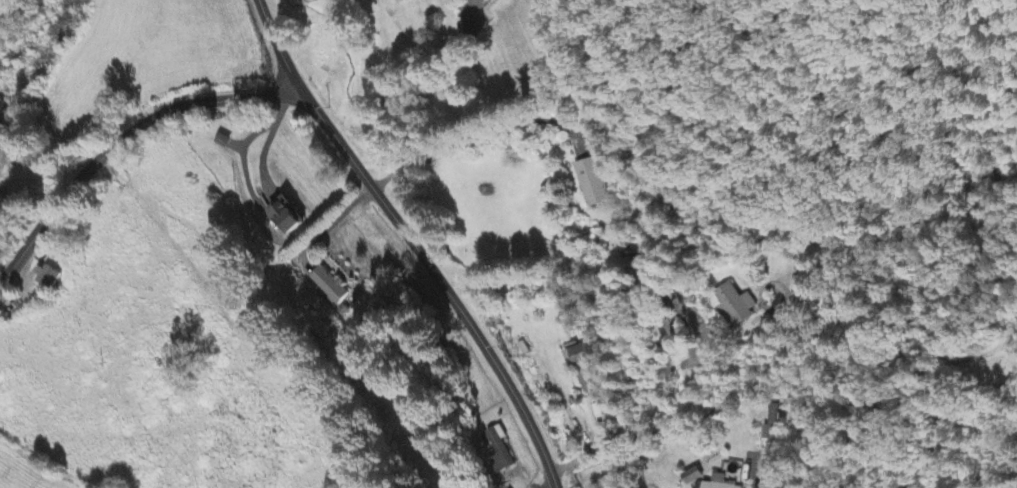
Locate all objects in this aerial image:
building: (401, 2)
building: (470, 28)
road: (121, 139)
building: (592, 184)
building: (287, 217)
road: (410, 240)
building: (46, 279)
building: (328, 287)
building: (736, 307)
building: (583, 368)
road: (682, 423)
building: (772, 426)
building: (498, 454)
building: (693, 478)
building: (719, 483)

